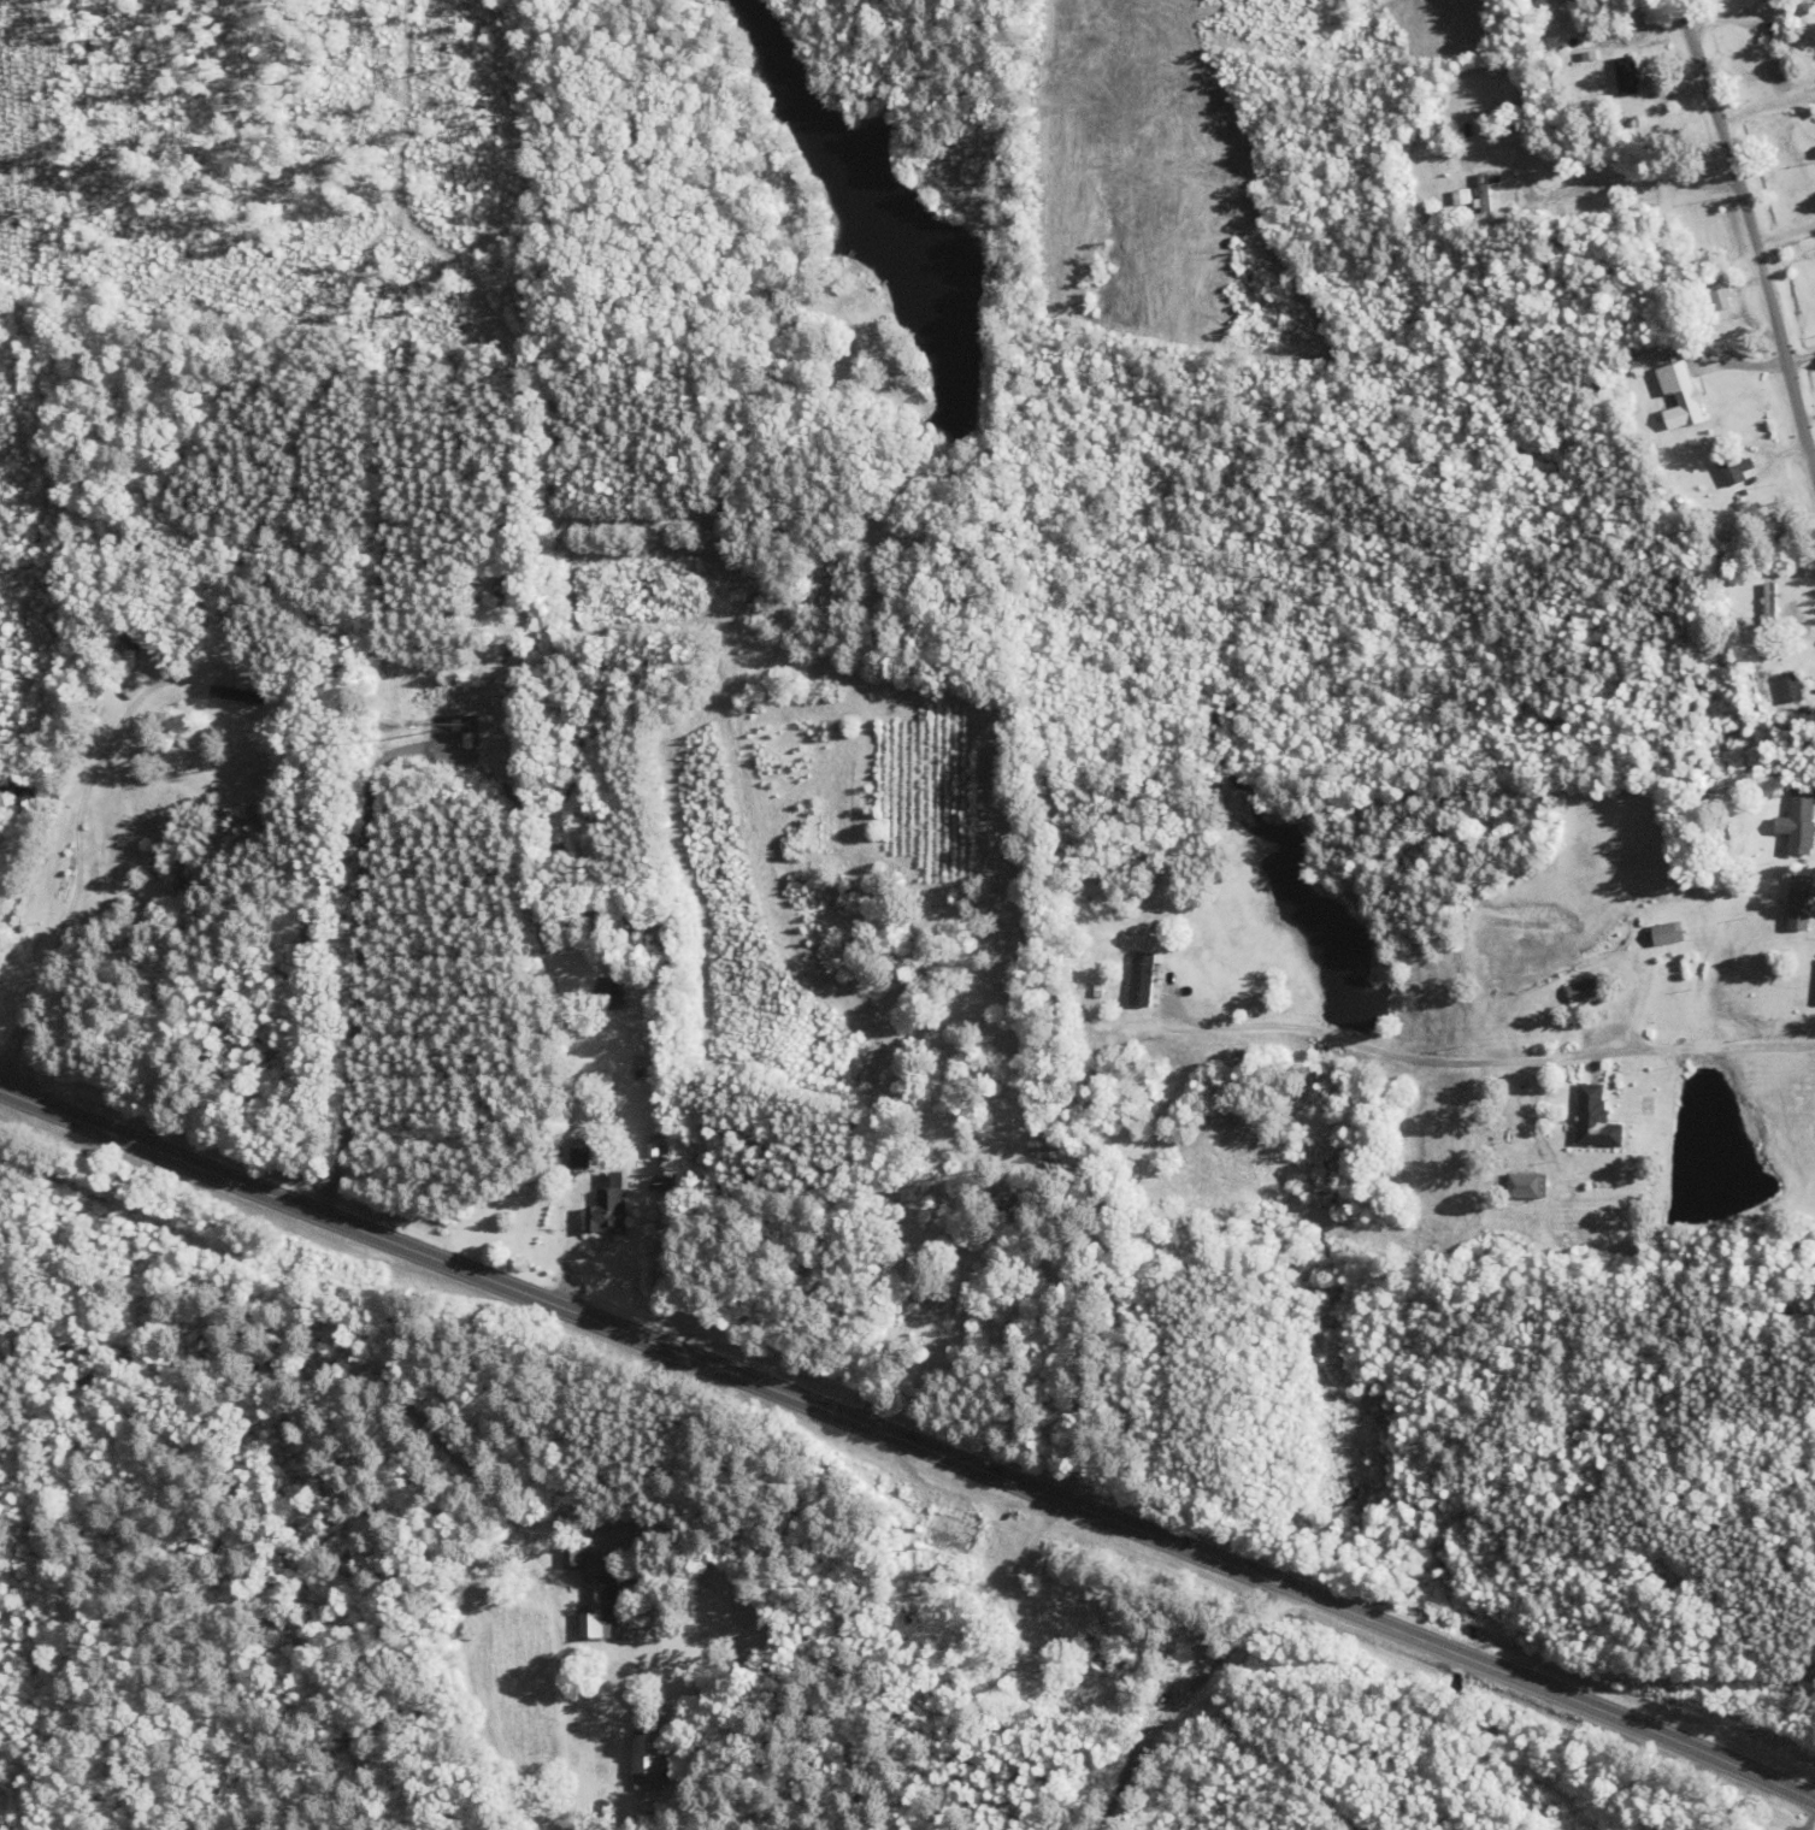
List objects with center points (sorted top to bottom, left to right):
road: (1751, 236)
road: (1801, 359)
road: (909, 1441)
road: (1196, 1706)

